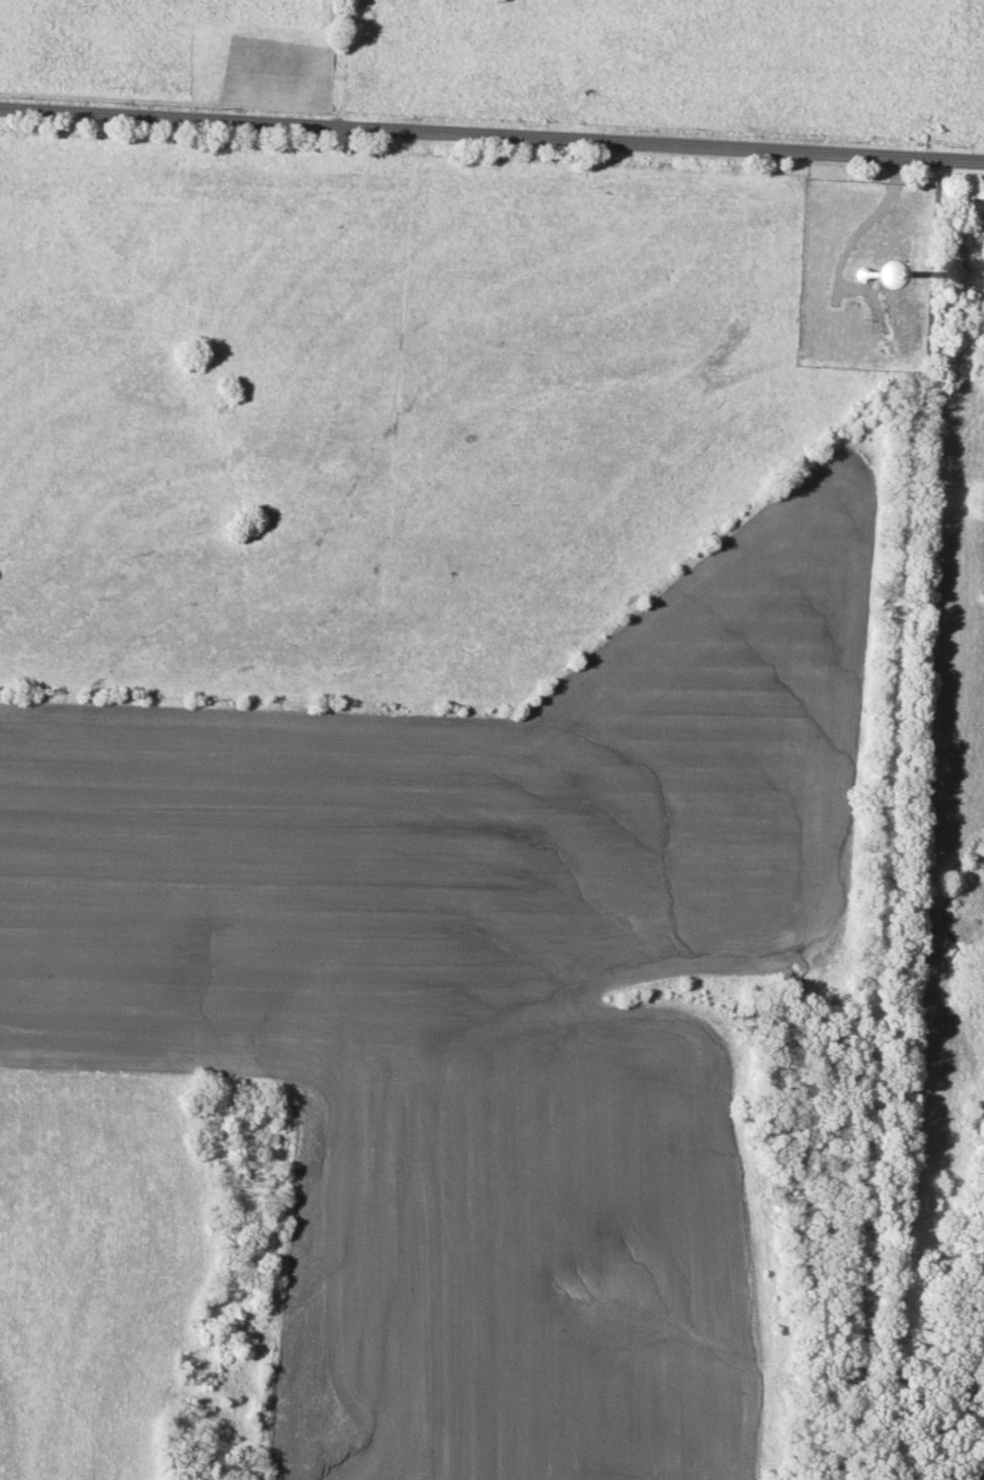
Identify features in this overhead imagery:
road: (491, 134)
building: (862, 273)

